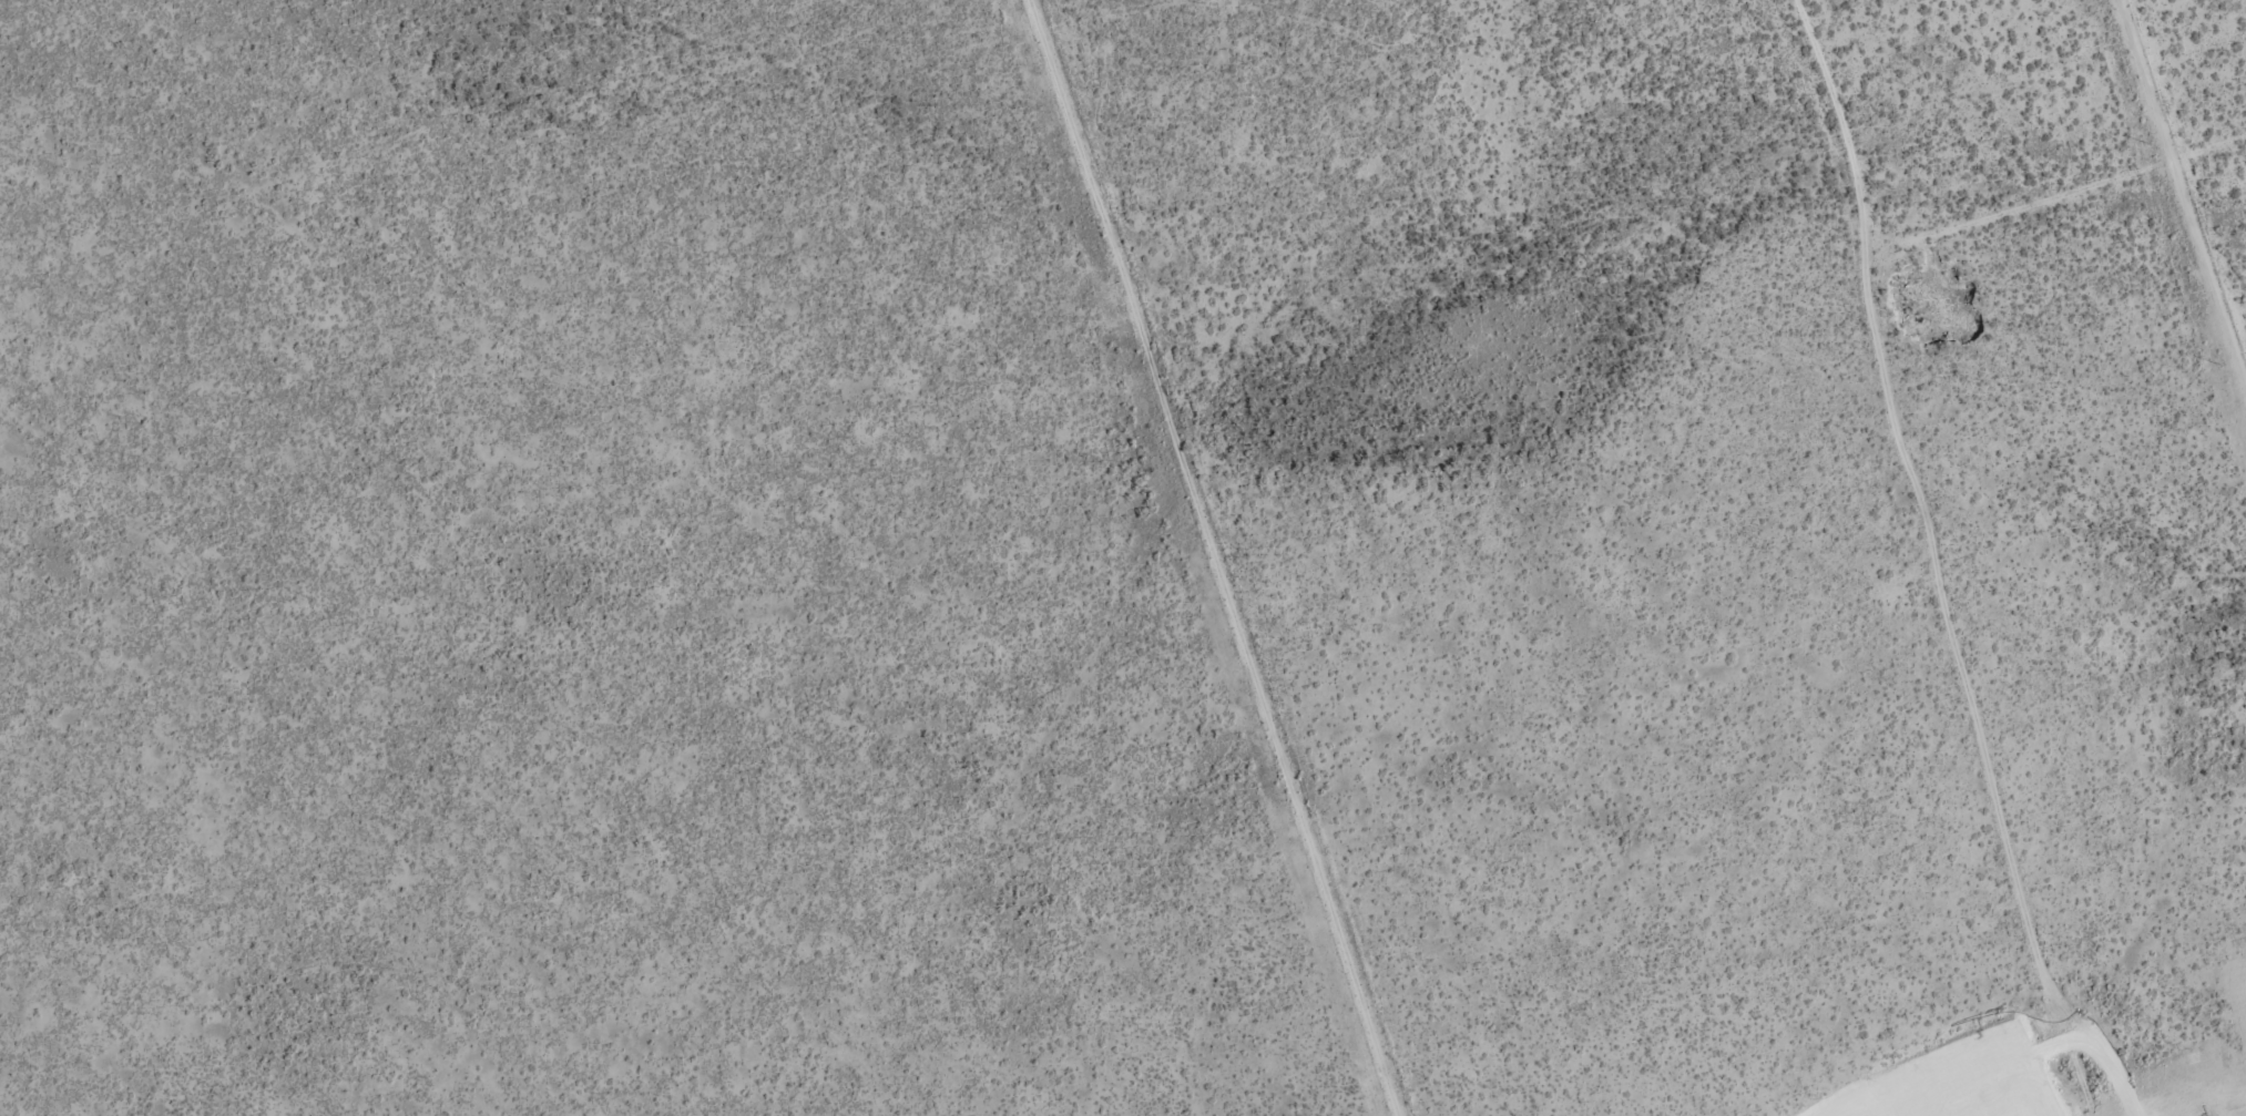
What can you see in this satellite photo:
road: (2055, 192)
road: (1940, 562)

